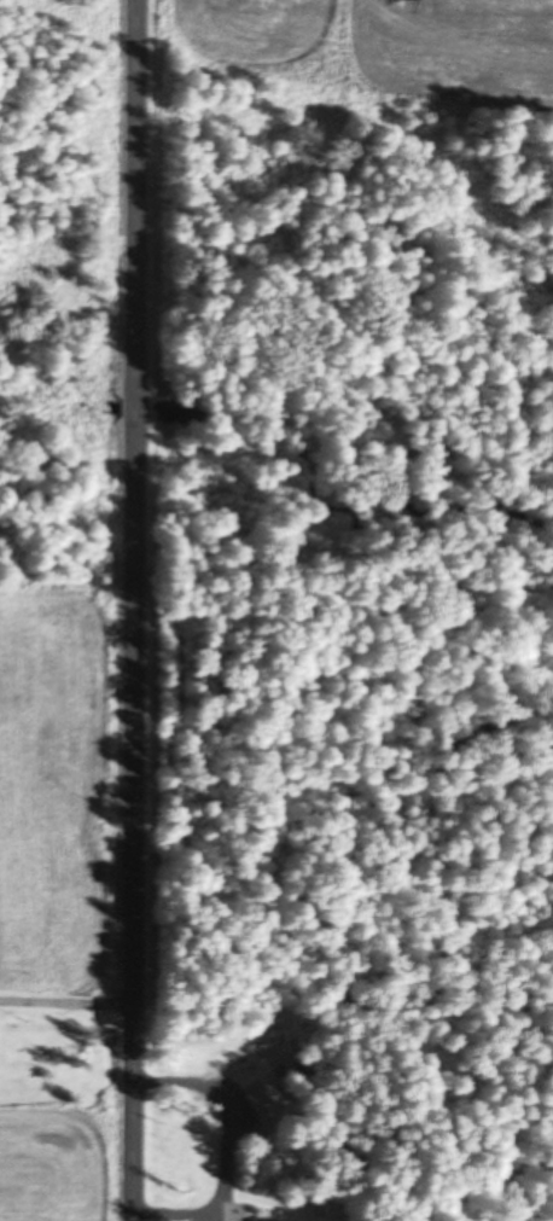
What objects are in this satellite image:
road: (153, 610)
building: (262, 1097)
building: (264, 1220)

